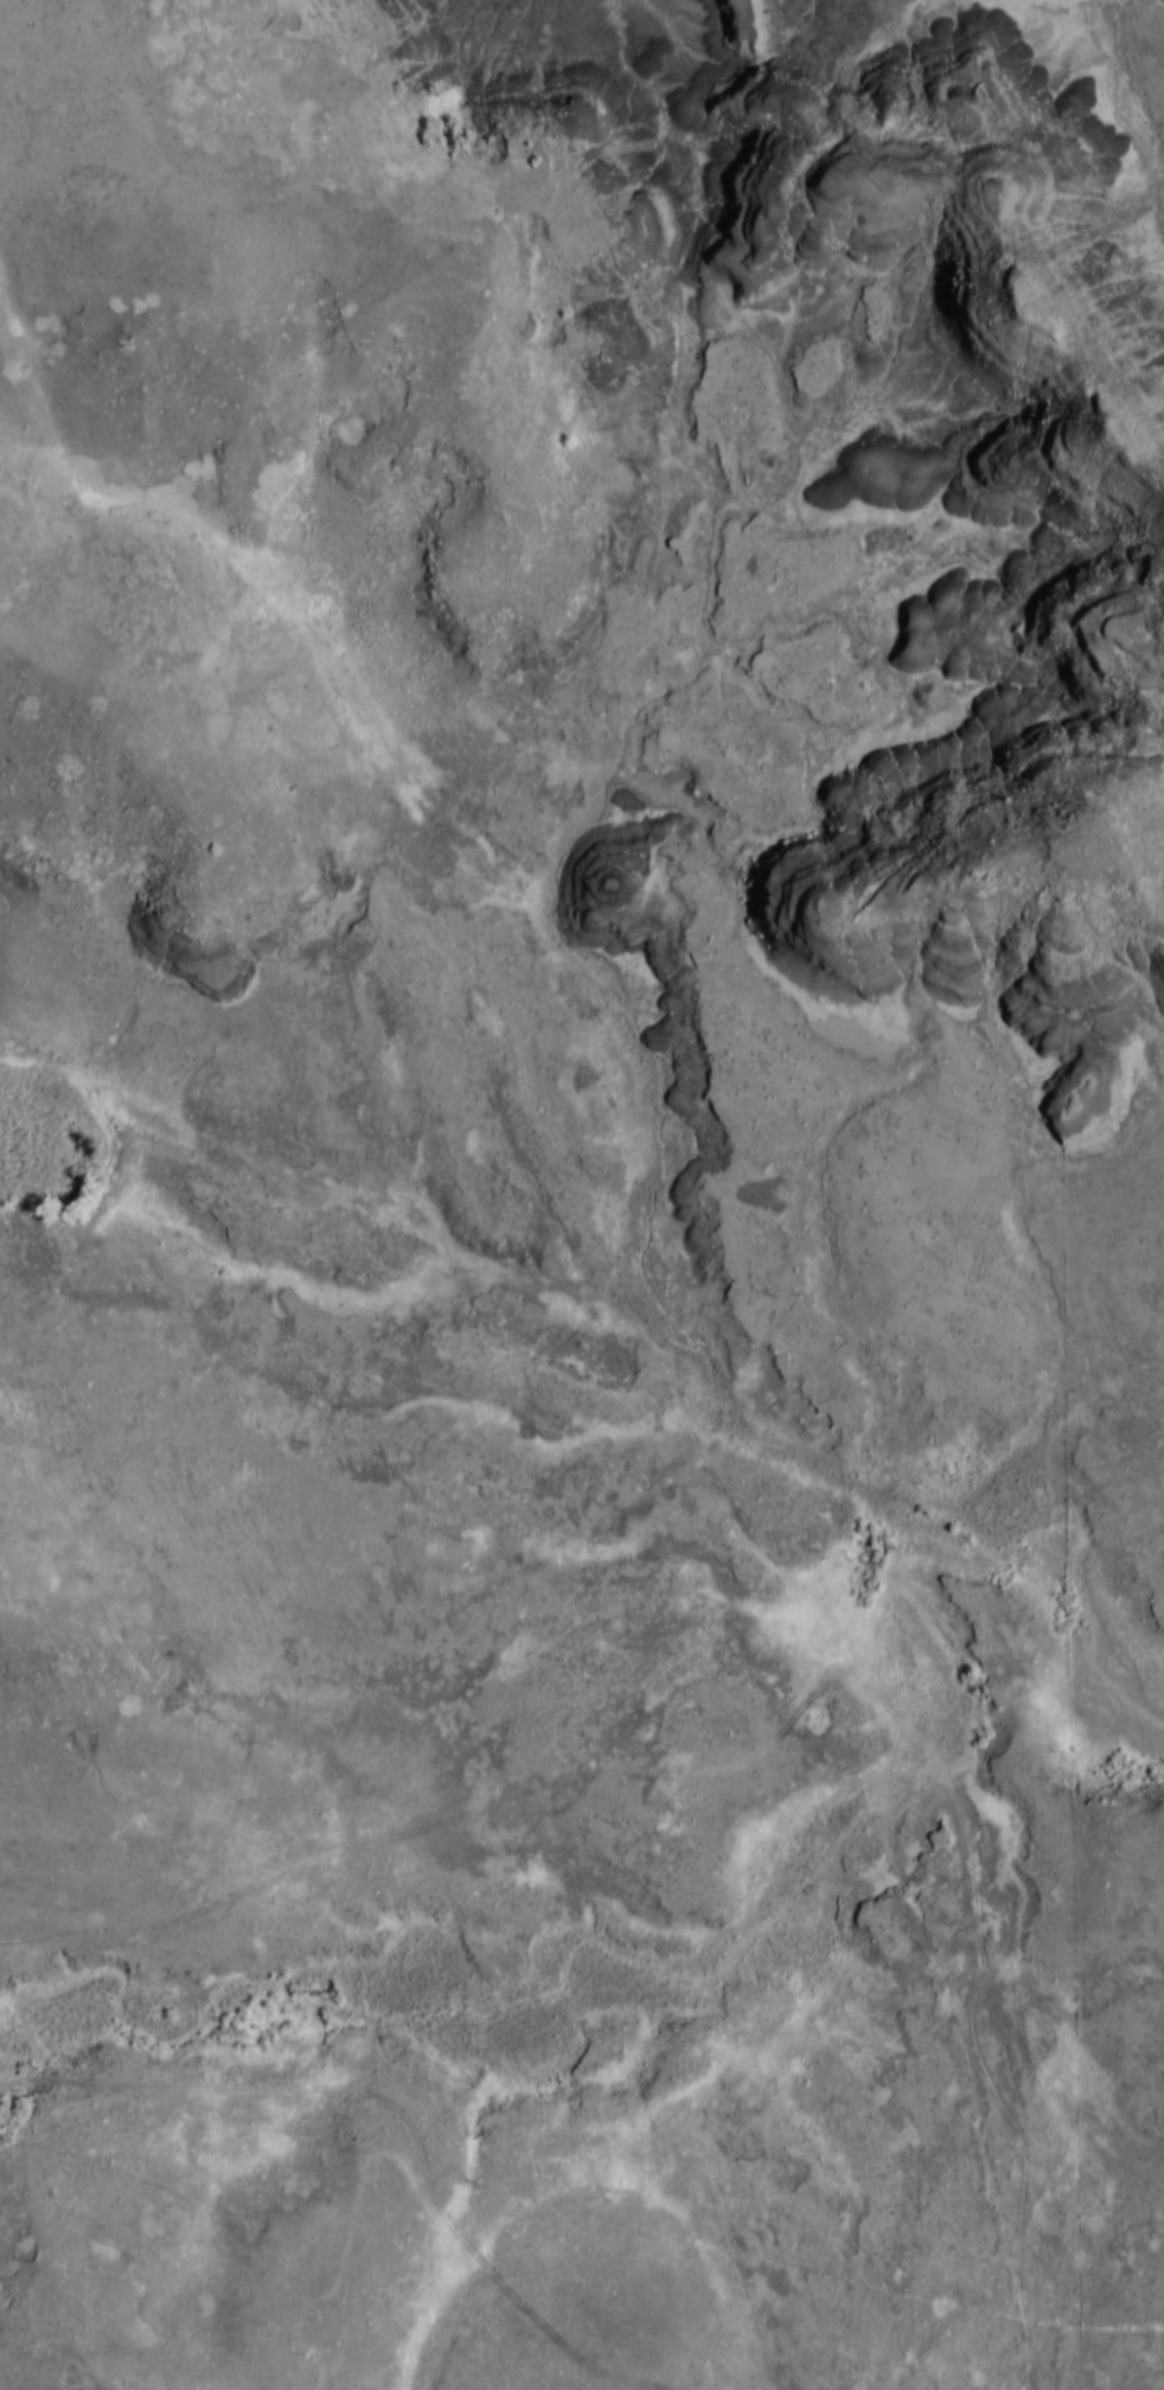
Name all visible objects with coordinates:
road: (653, 1781)
road: (390, 2107)

